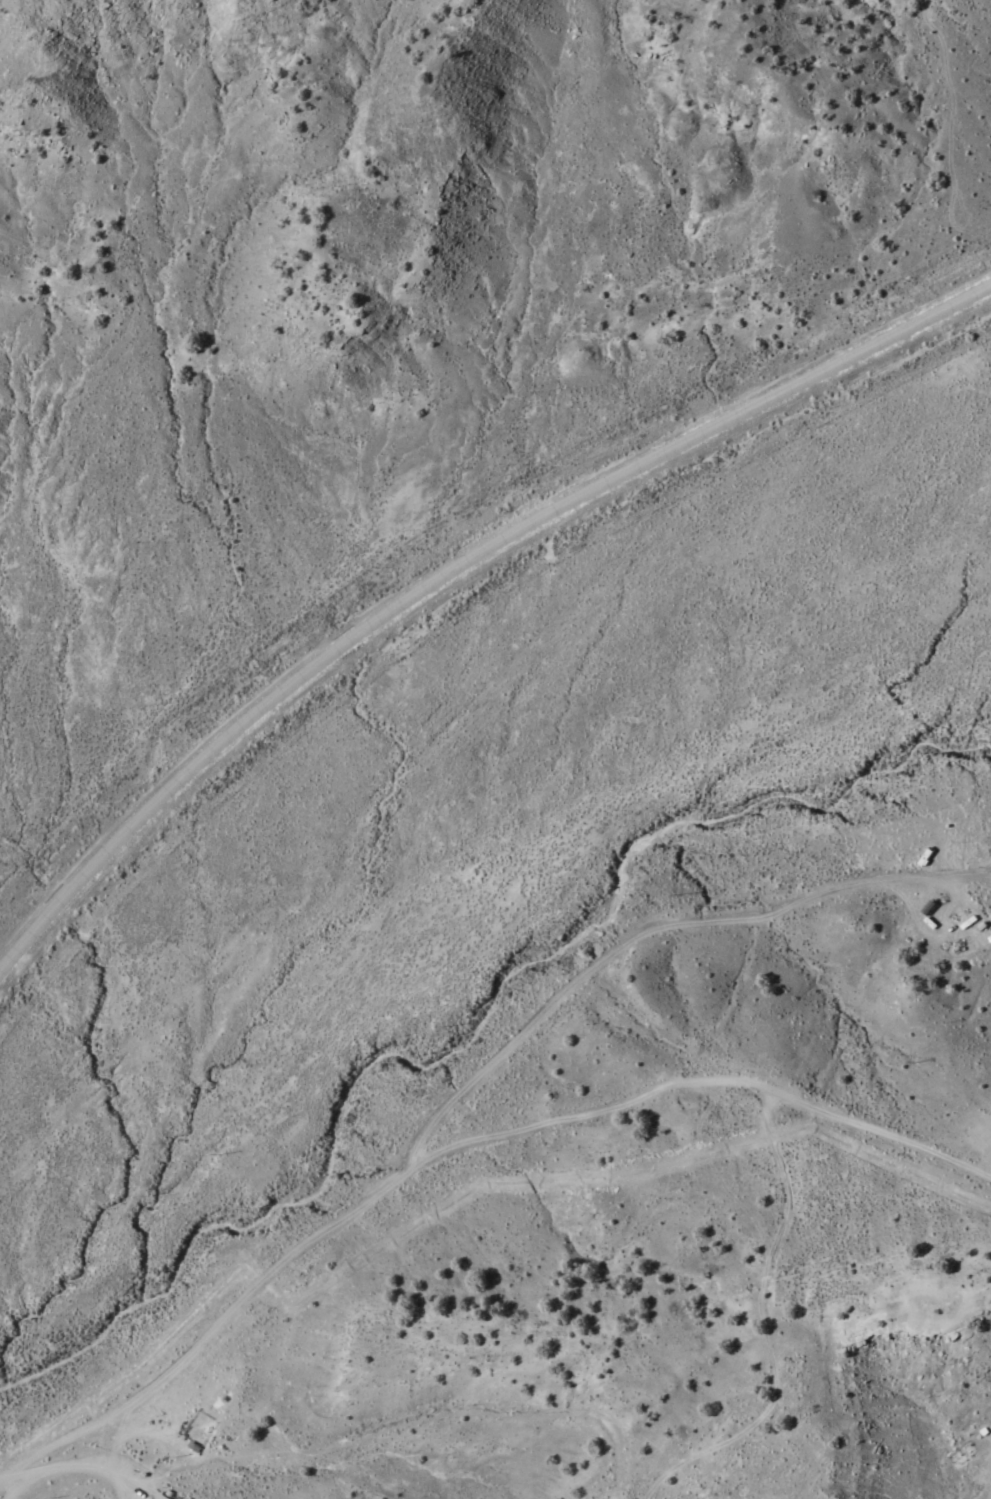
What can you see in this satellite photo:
road: (451, 574)
road: (456, 1139)
road: (948, 1455)

